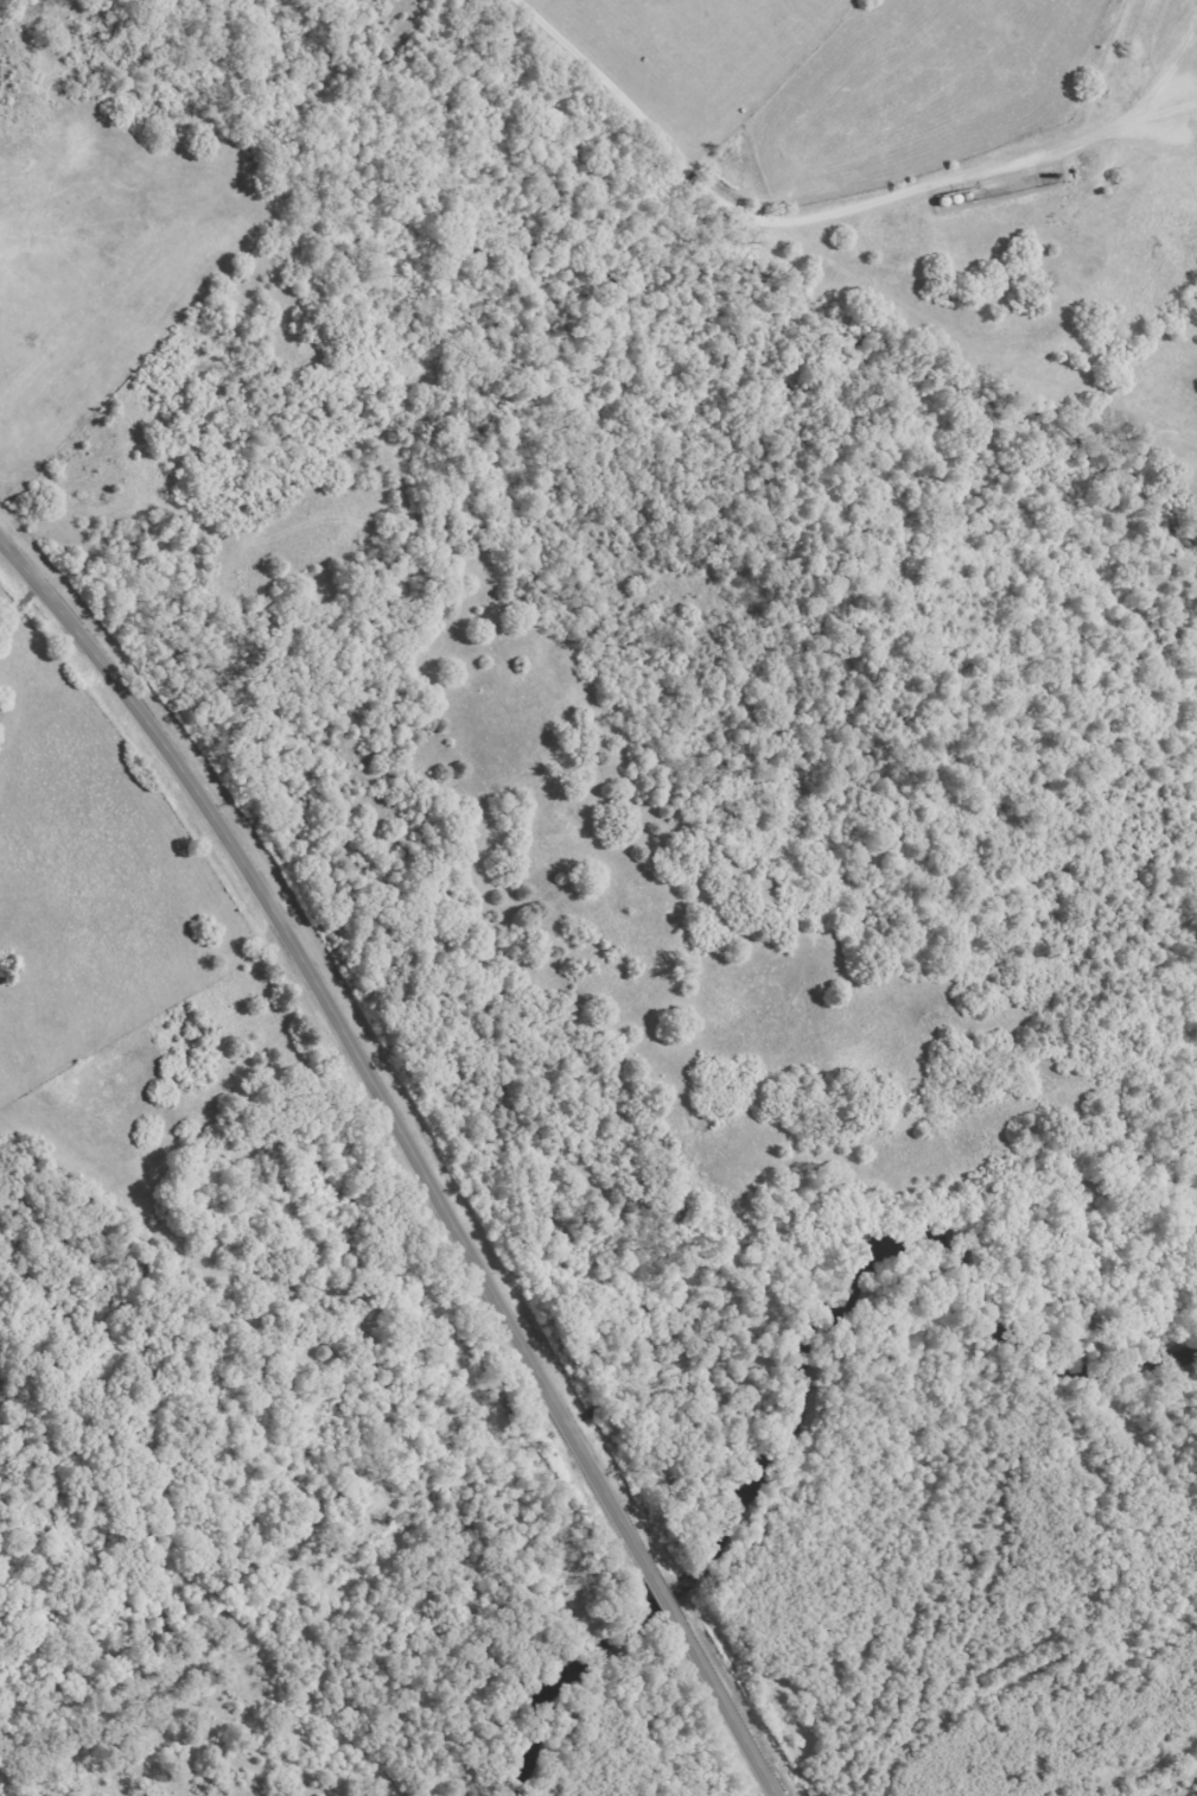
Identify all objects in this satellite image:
road: (412, 1155)

